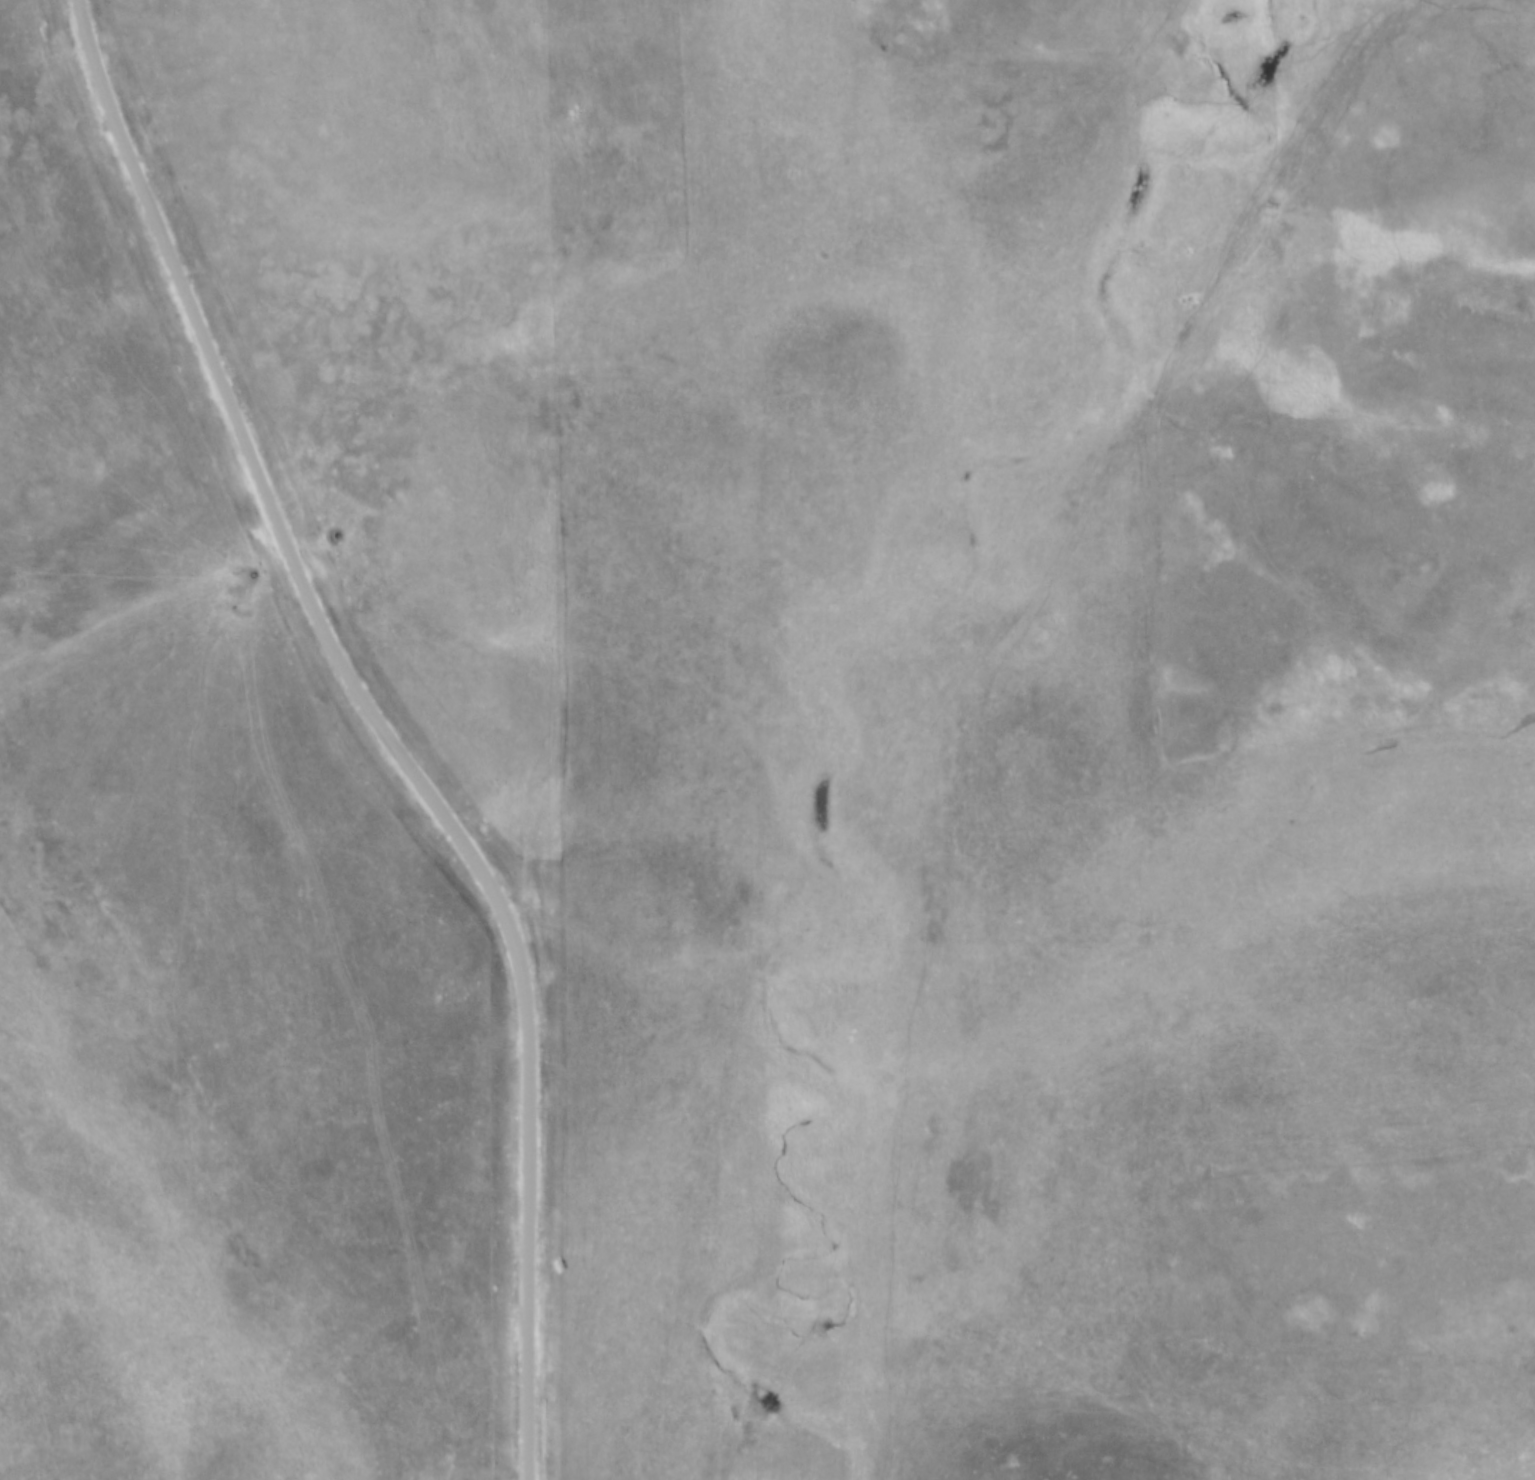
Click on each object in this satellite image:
road: (381, 730)

